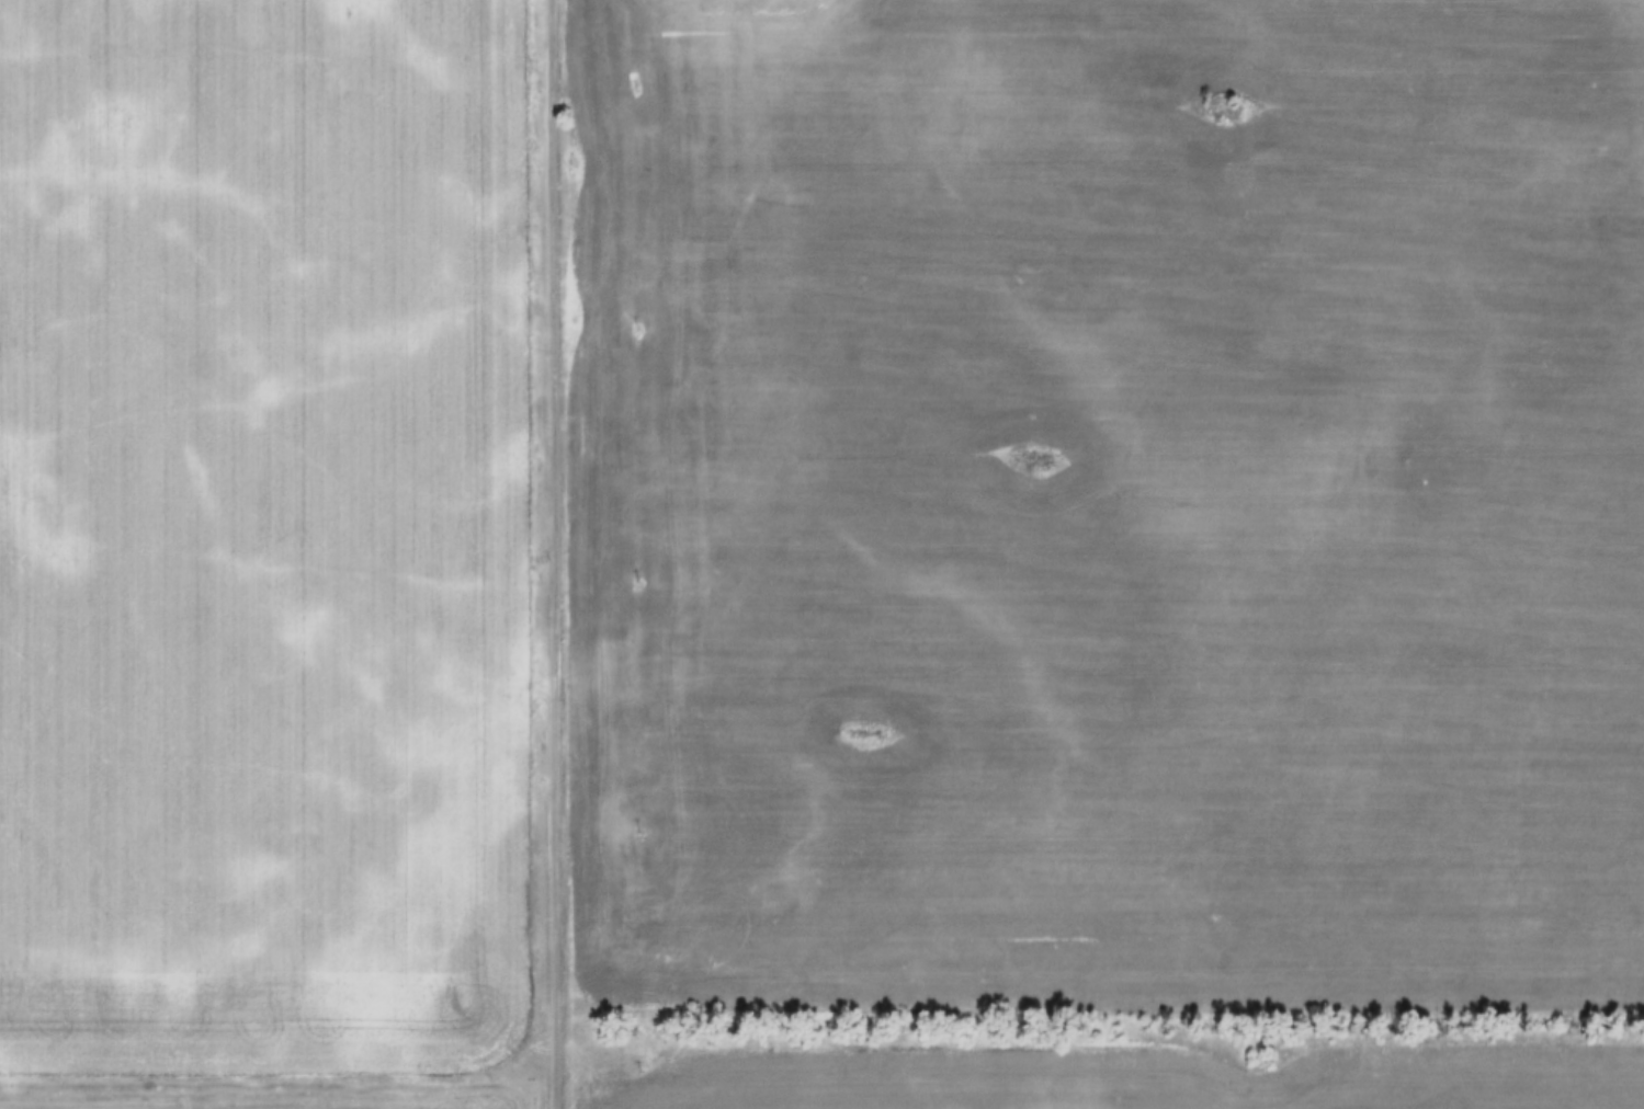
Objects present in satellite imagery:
road: (565, 553)

